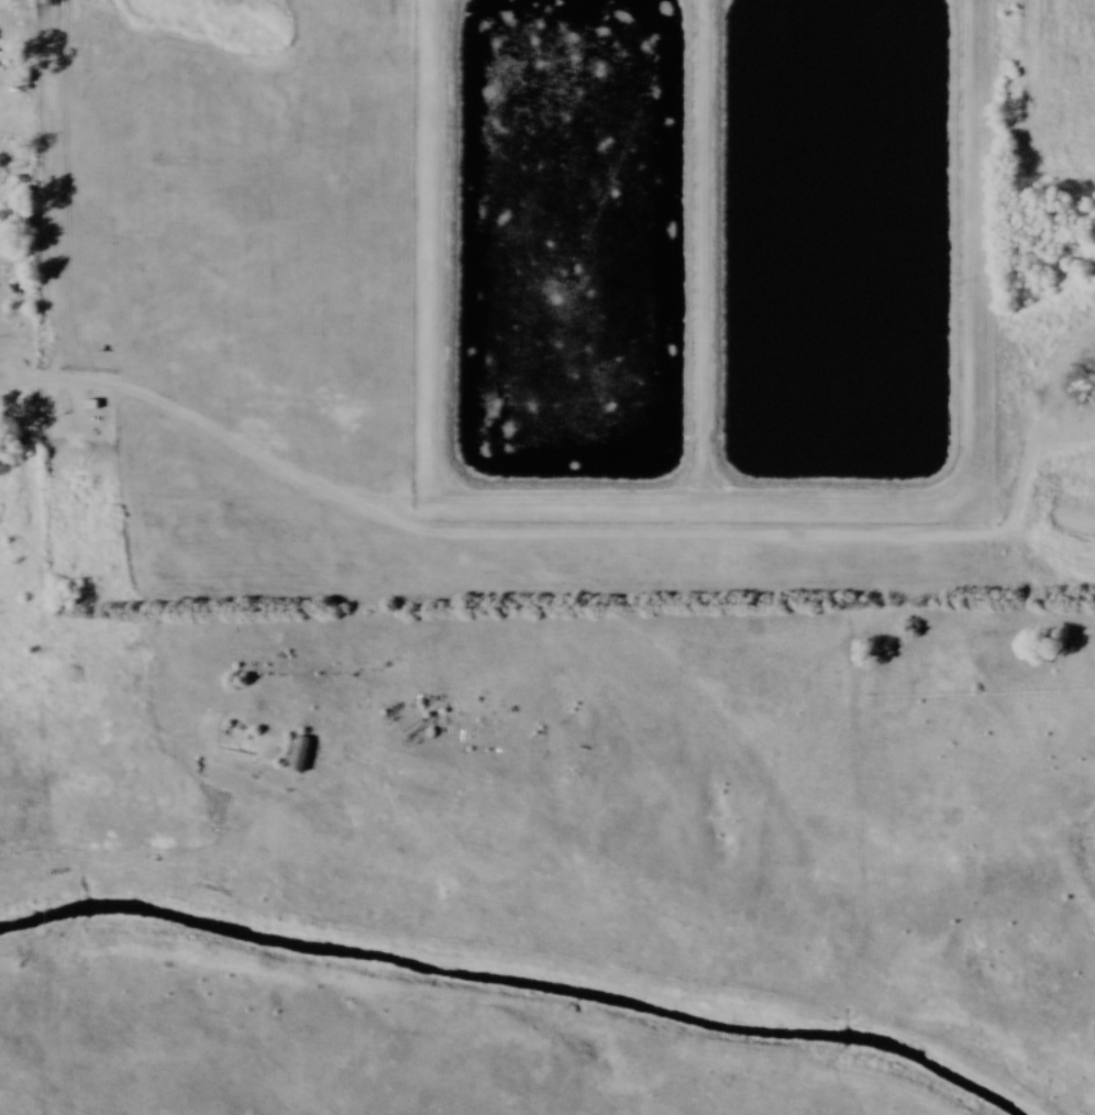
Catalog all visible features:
building: (20, 191)

